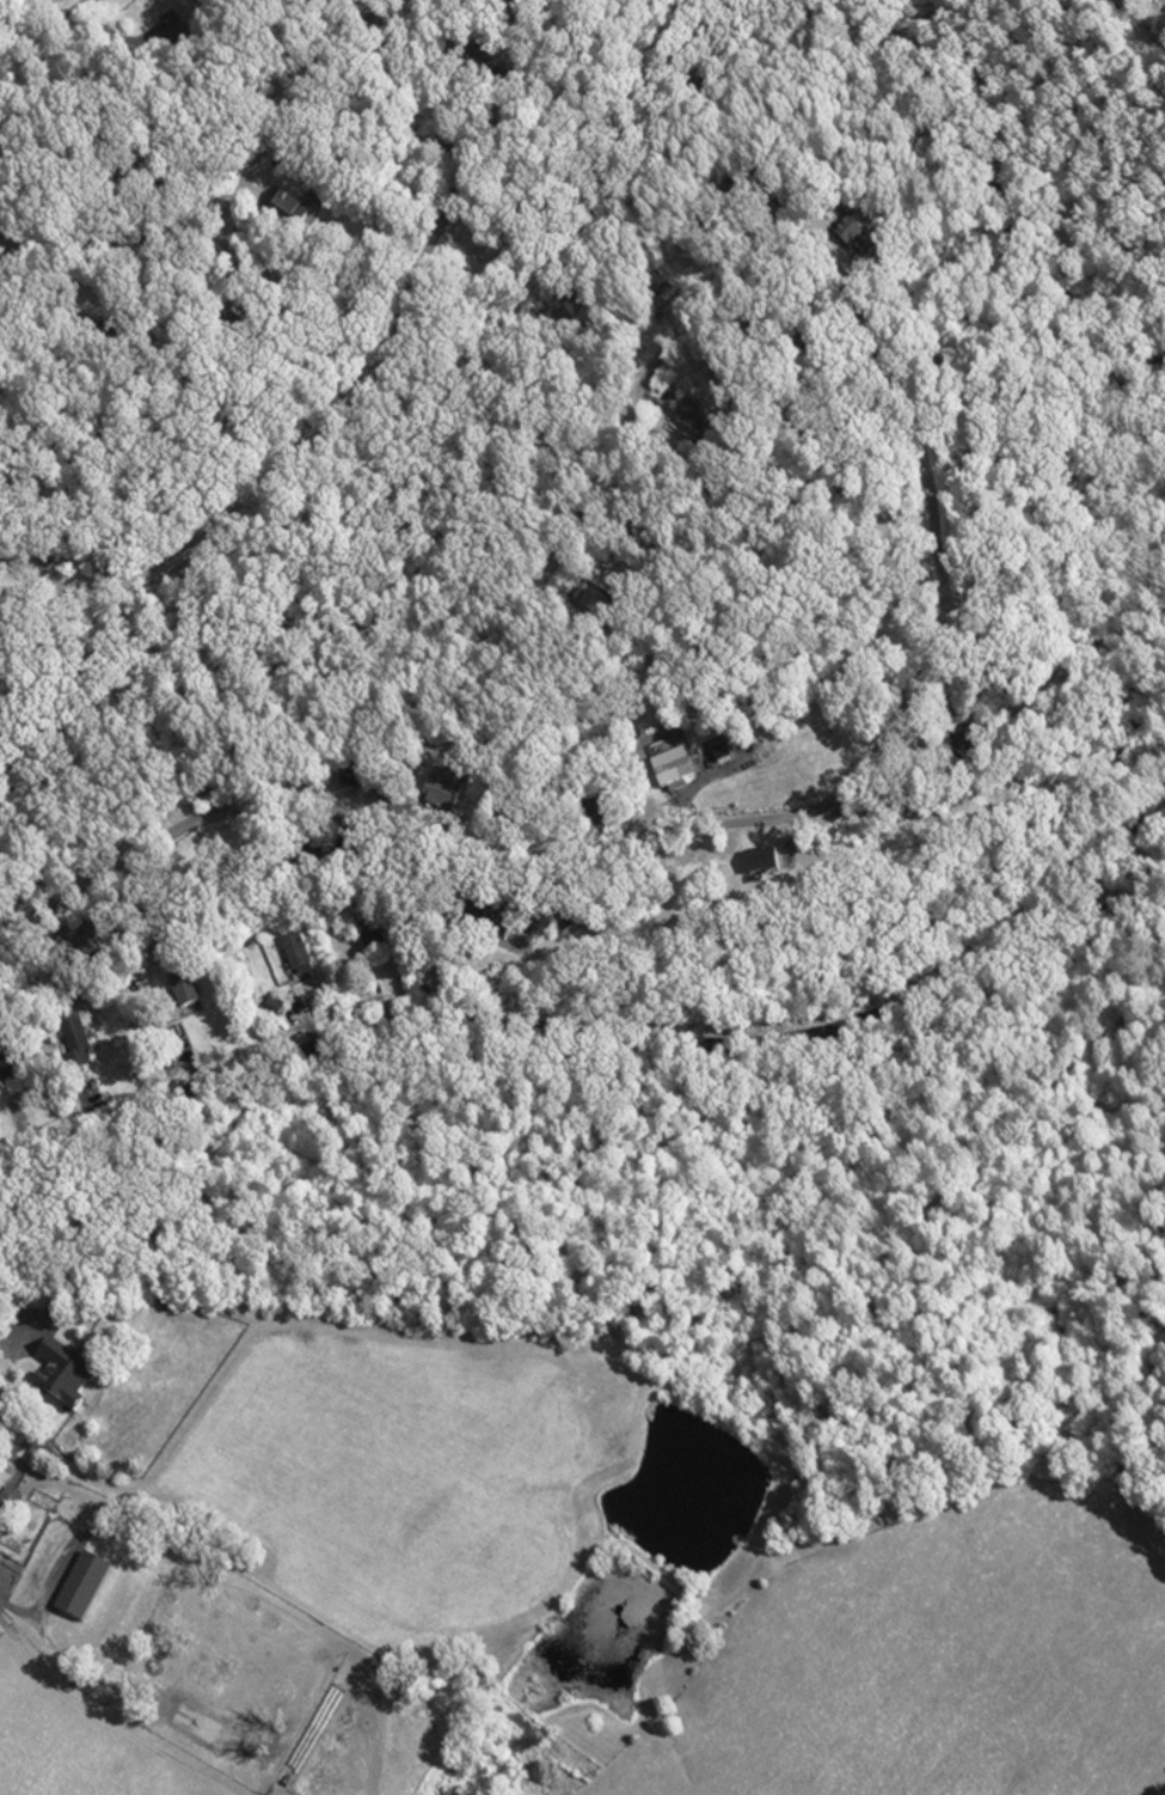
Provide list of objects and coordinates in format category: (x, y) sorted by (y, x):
building: (1122, 5)
building: (1155, 28)
building: (170, 29)
road: (27, 112)
building: (424, 129)
building: (283, 206)
road: (228, 207)
building: (847, 234)
road: (362, 392)
building: (685, 423)
road: (934, 536)
building: (597, 597)
building: (675, 775)
building: (760, 865)
building: (292, 953)
building: (183, 999)
road: (603, 1036)
building: (70, 1044)
building: (44, 1327)
road: (4, 1351)
building: (60, 1384)
road: (136, 1530)
road: (2, 1612)
road: (869, 1632)
road: (76, 1696)

